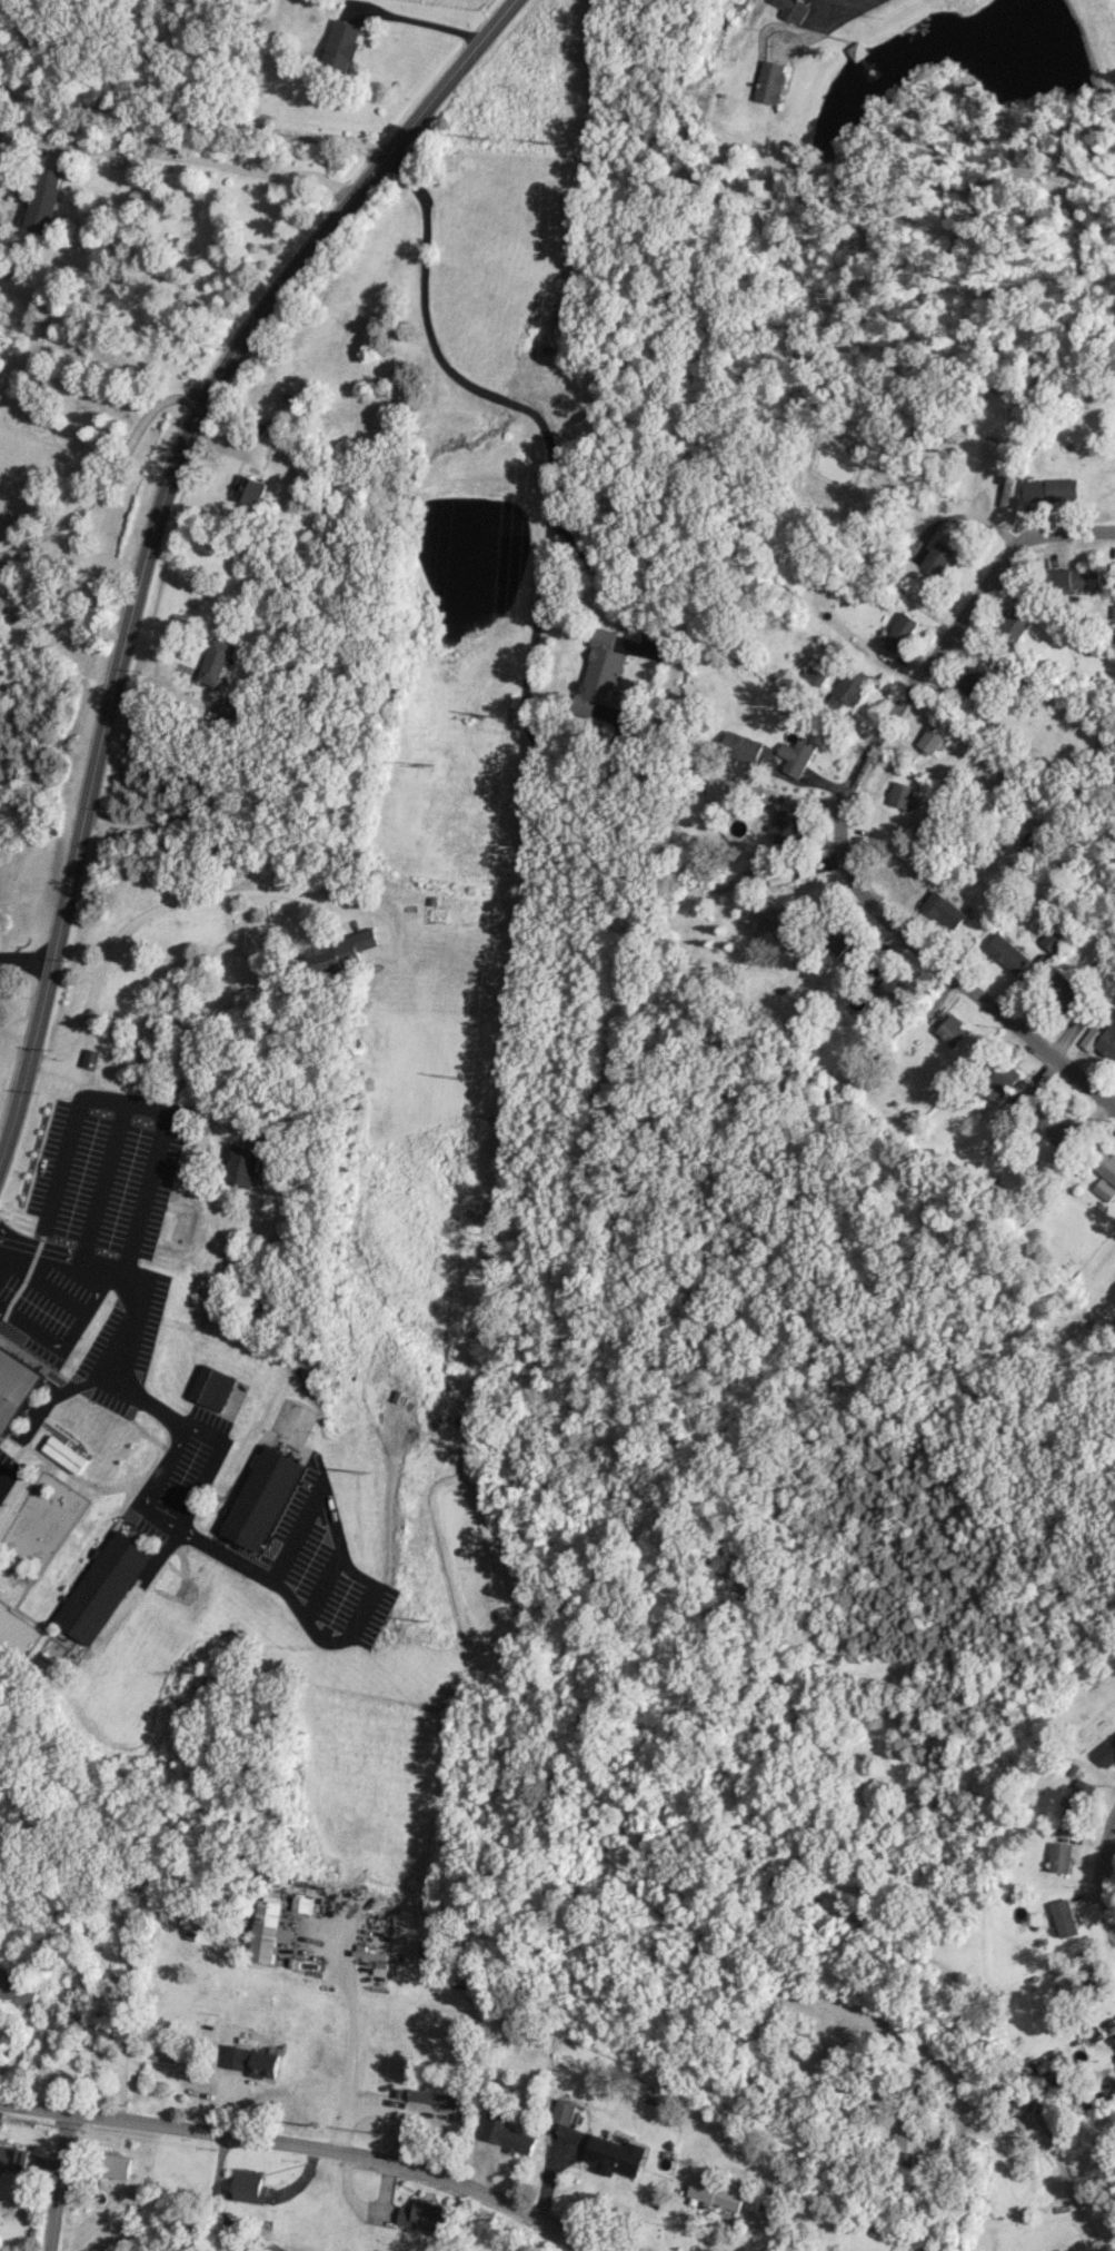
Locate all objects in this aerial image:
building: (793, 9)
road: (846, 14)
road: (2, 17)
road: (415, 19)
building: (341, 43)
building: (771, 81)
road: (191, 125)
power tower: (477, 138)
power tower: (559, 143)
road: (196, 158)
building: (42, 199)
road: (511, 400)
building: (986, 446)
road: (107, 475)
building: (248, 488)
building: (1049, 489)
road: (151, 532)
building: (936, 553)
road: (989, 577)
building: (1075, 577)
building: (796, 579)
building: (1015, 623)
building: (899, 631)
building: (215, 662)
building: (599, 673)
building: (969, 683)
road: (522, 684)
building: (848, 687)
building: (231, 710)
power tower: (502, 715)
building: (929, 738)
building: (744, 747)
building: (796, 754)
power tower: (422, 767)
road: (216, 781)
building: (721, 790)
building: (903, 795)
building: (784, 826)
building: (806, 867)
building: (766, 876)
road: (205, 895)
building: (946, 911)
road: (900, 932)
building: (837, 940)
building: (1053, 940)
building: (1008, 952)
road: (24, 956)
building: (897, 989)
building: (1064, 991)
road: (17, 1027)
building: (954, 1030)
building: (1101, 1039)
building: (89, 1058)
road: (46, 1062)
building: (1004, 1079)
power tower: (471, 1081)
road: (147, 1107)
building: (1054, 1123)
road: (70, 1134)
building: (243, 1164)
building: (1106, 1166)
building: (1105, 1189)
road: (1, 1258)
road: (141, 1303)
road: (82, 1320)
building: (16, 1387)
building: (213, 1387)
building: (66, 1454)
road: (211, 1466)
power tower: (367, 1468)
road: (2, 1477)
road: (160, 1477)
building: (262, 1498)
building: (102, 1587)
road: (368, 1609)
power tower: (427, 1616)
building: (1107, 1753)
building: (1077, 1798)
building: (1061, 1856)
road: (1105, 1873)
building: (303, 1903)
building: (1064, 1917)
building: (1092, 1977)
building: (17, 1991)
building: (1114, 2039)
road: (27, 2043)
road: (348, 2052)
building: (252, 2061)
building: (437, 2101)
building: (565, 2111)
building: (1049, 2122)
power tower: (312, 2123)
building: (505, 2131)
power tower: (384, 2132)
building: (909, 2140)
road: (311, 2148)
road: (1055, 2153)
building: (615, 2155)
building: (13, 2158)
building: (118, 2165)
building: (1027, 2166)
road: (56, 2181)
building: (248, 2186)
building: (719, 2192)
building: (428, 2215)
building: (1106, 2227)

